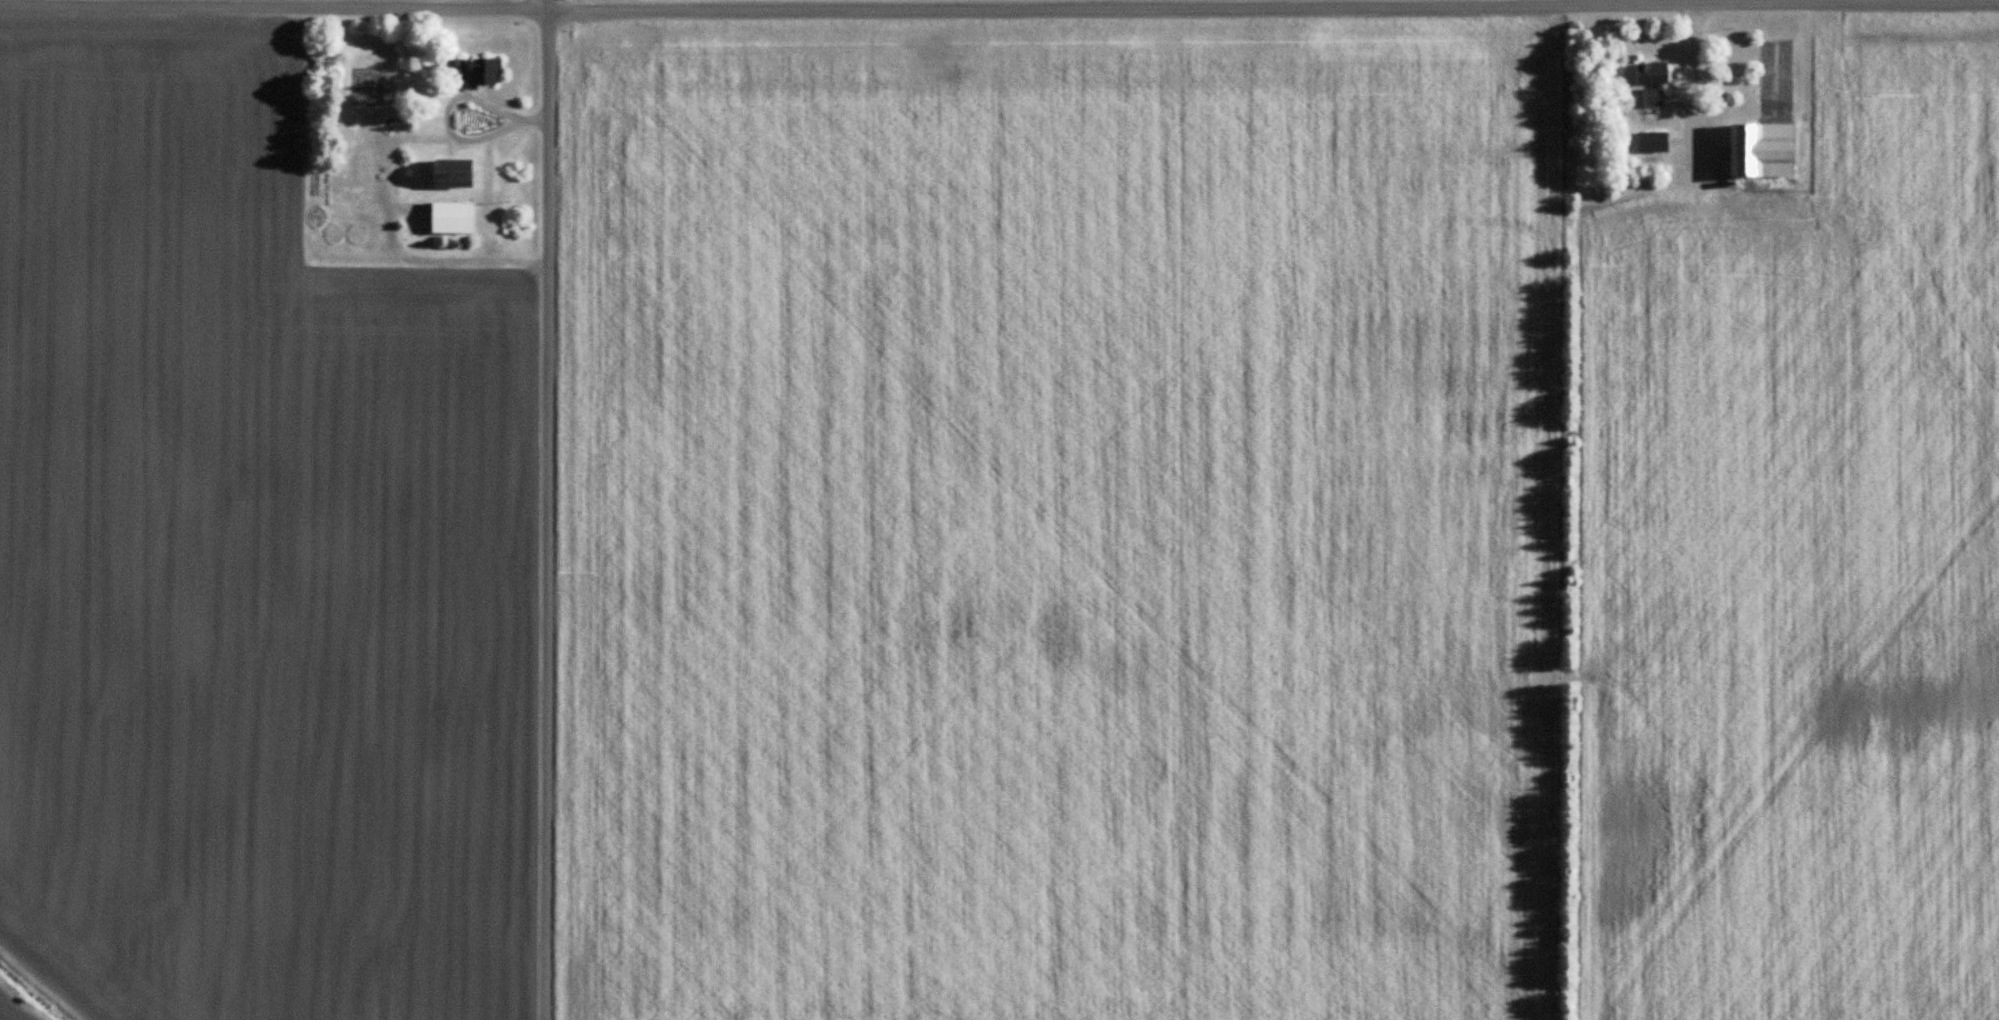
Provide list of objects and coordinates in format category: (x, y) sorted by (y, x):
road: (1463, 3)
road: (999, 9)
building: (485, 72)
building: (454, 75)
road: (1691, 79)
building: (1653, 82)
road: (450, 106)
building: (1653, 142)
building: (1763, 150)
building: (452, 173)
building: (451, 218)
building: (355, 233)
building: (333, 235)
road: (543, 510)

